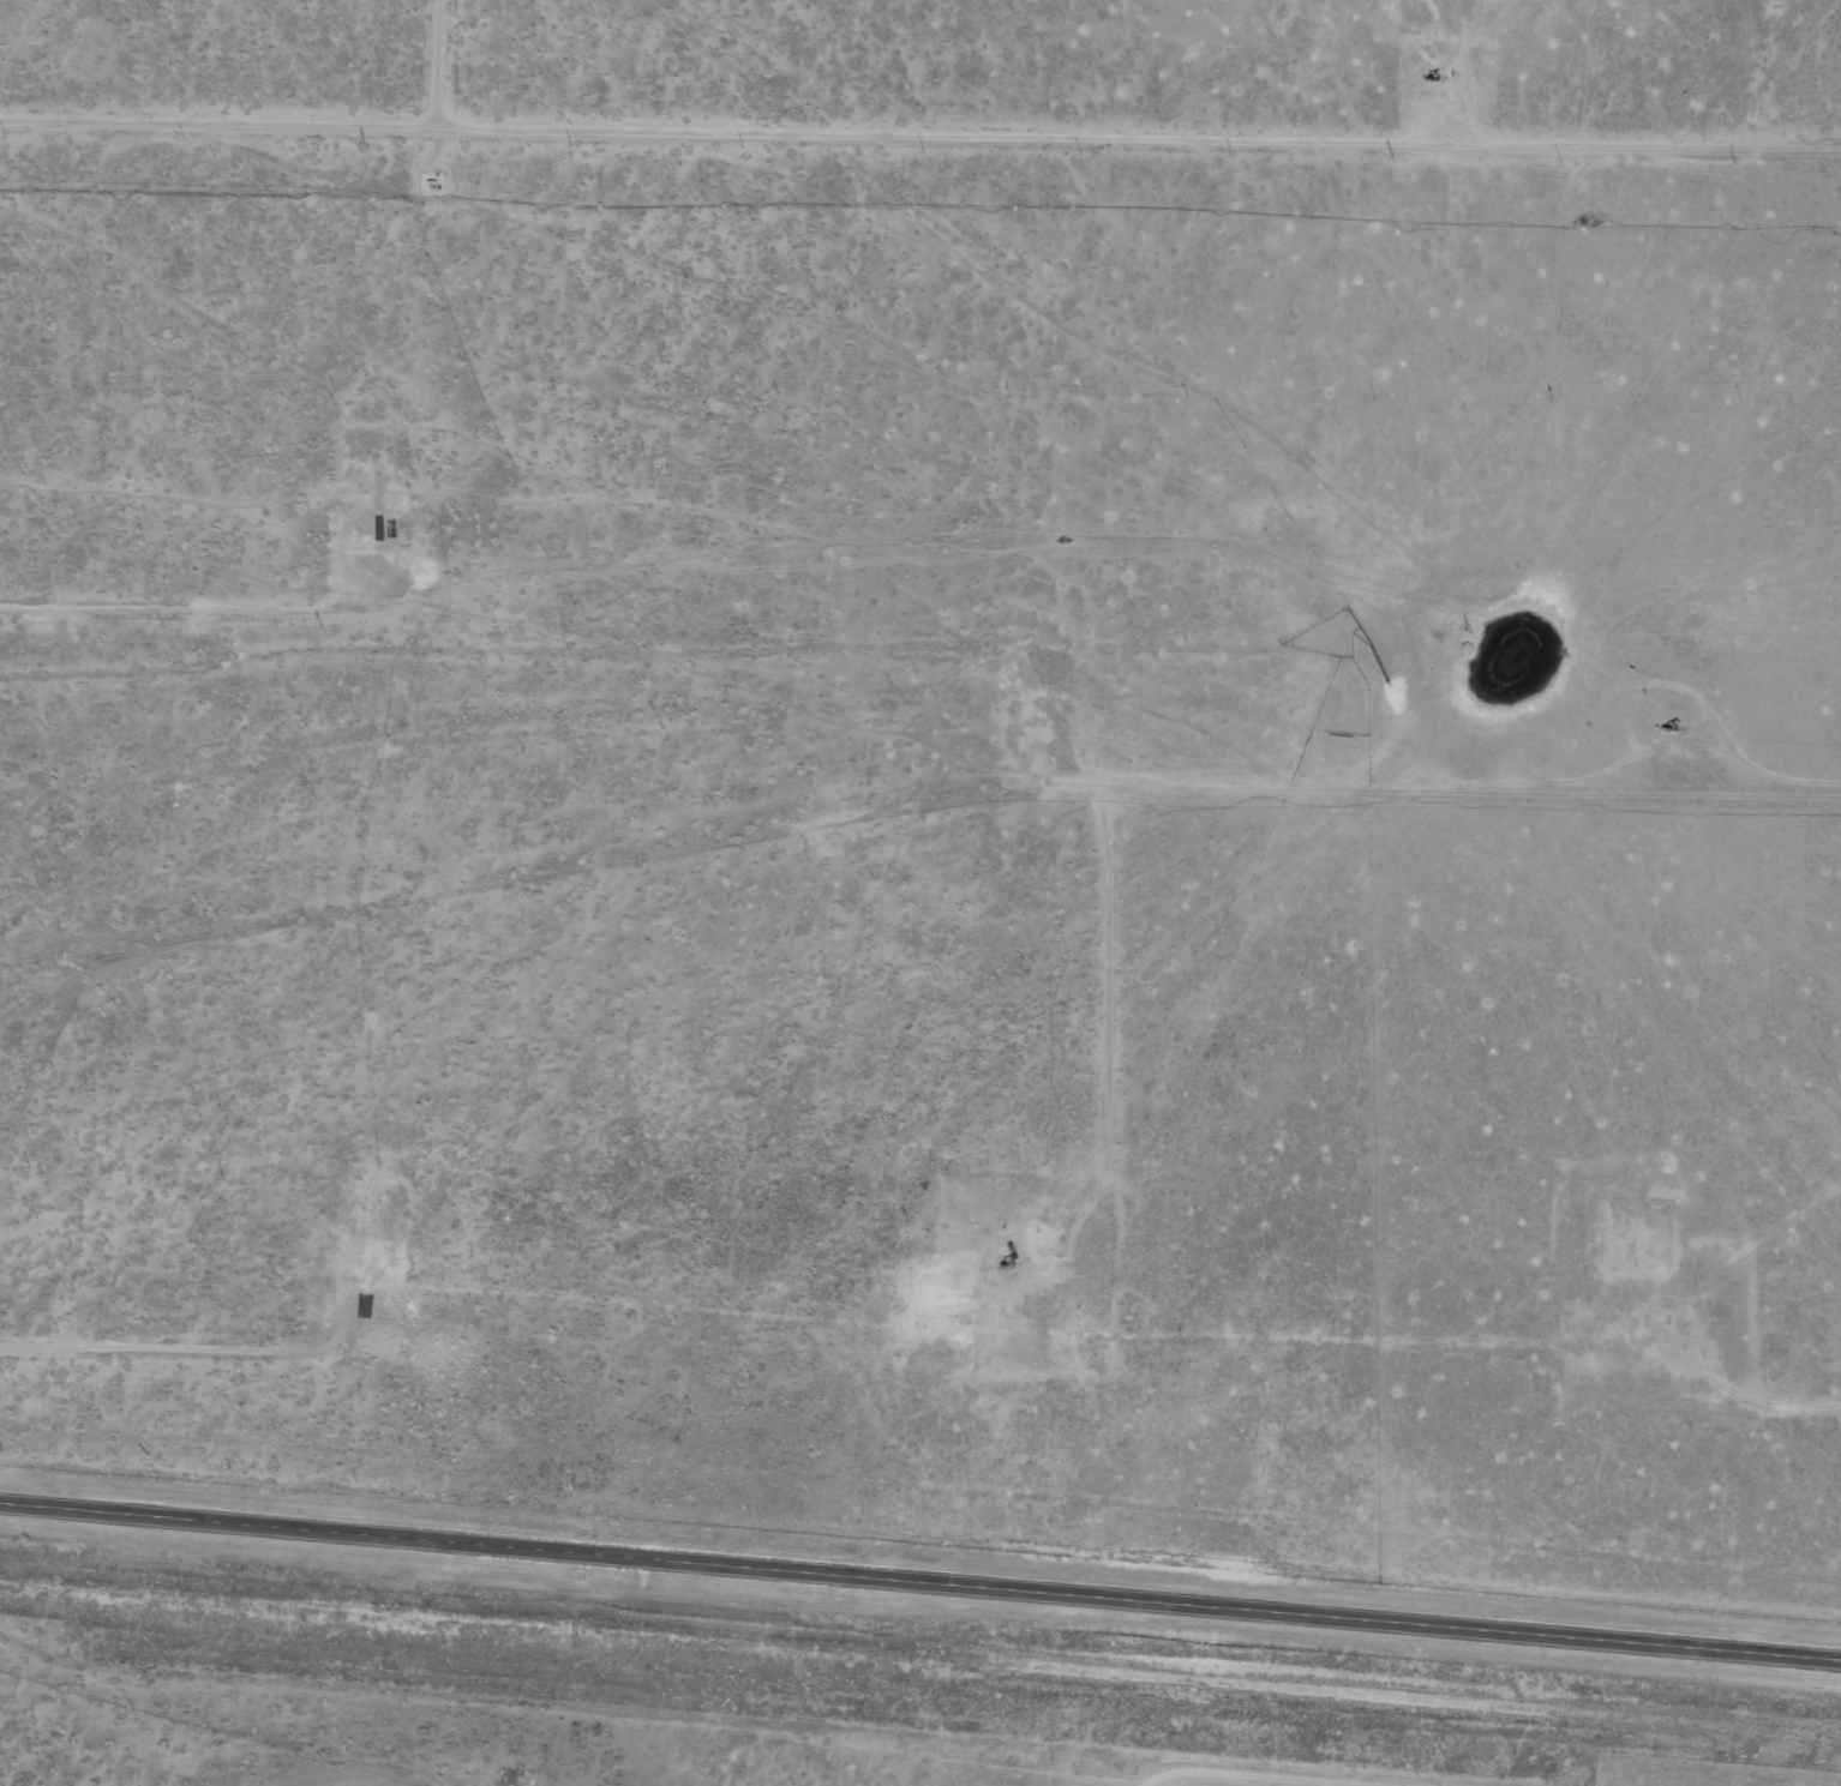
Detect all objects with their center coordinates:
road: (373, 74)
road: (920, 166)
road: (933, 687)
road: (1657, 1015)
road: (920, 1581)

